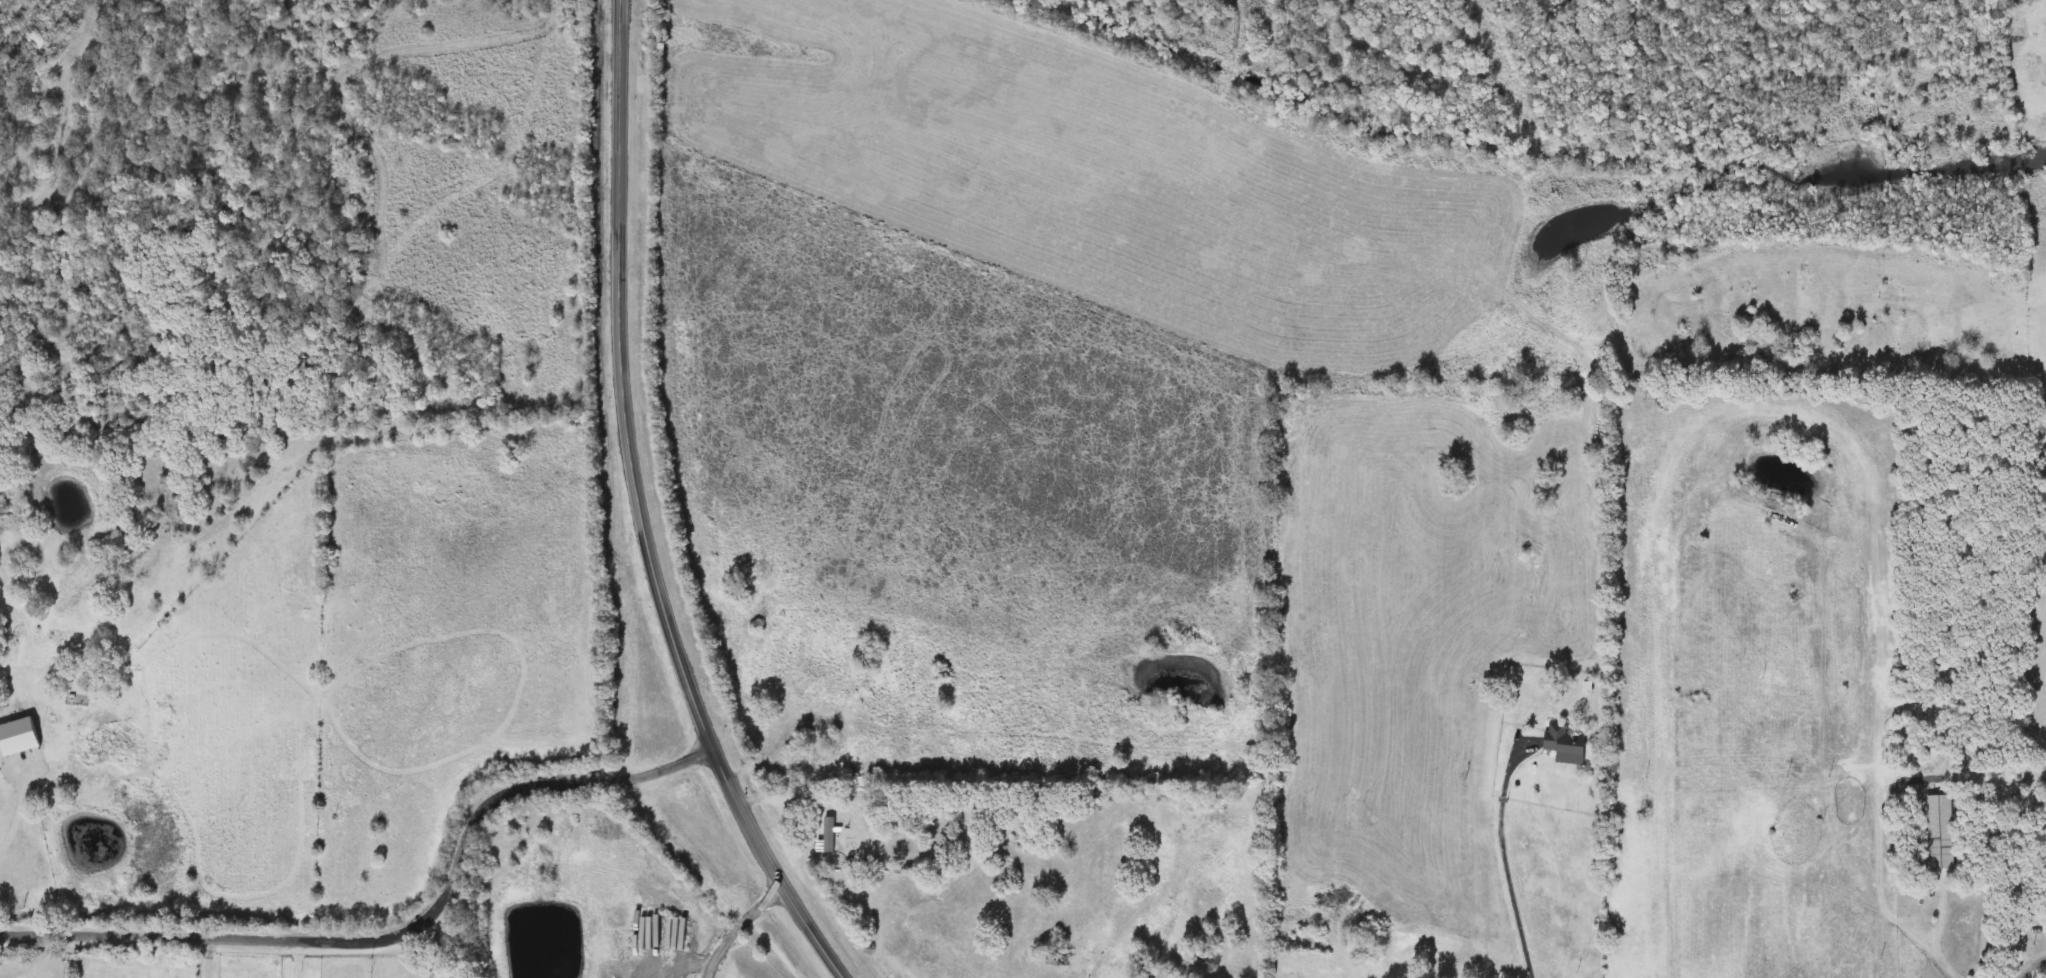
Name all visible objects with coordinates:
road: (648, 513)
building: (1563, 744)
building: (32, 745)
road: (20, 819)
building: (1941, 830)
building: (840, 837)
road: (1504, 860)
building: (31, 861)
road: (2016, 867)
road: (747, 921)
road: (411, 926)
road: (1941, 938)
road: (67, 955)
road: (210, 956)
road: (298, 956)
road: (2031, 967)

